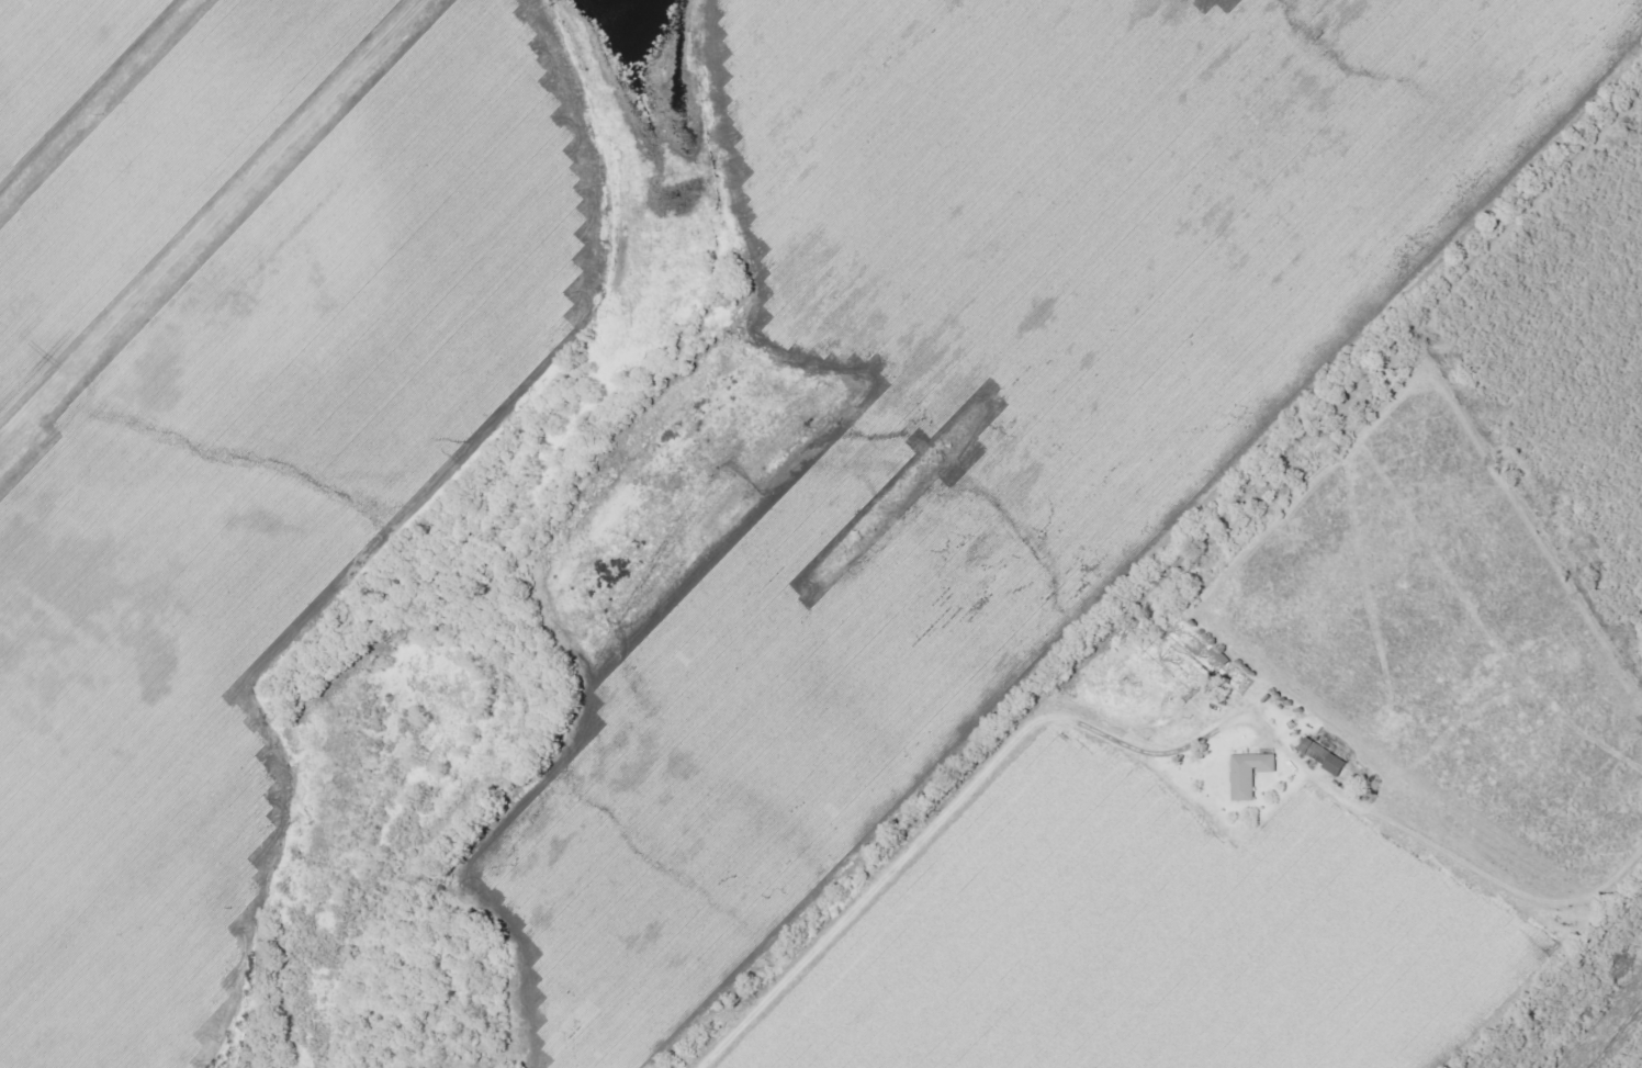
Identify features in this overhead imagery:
road: (218, 226)
building: (1251, 774)
road: (957, 801)

